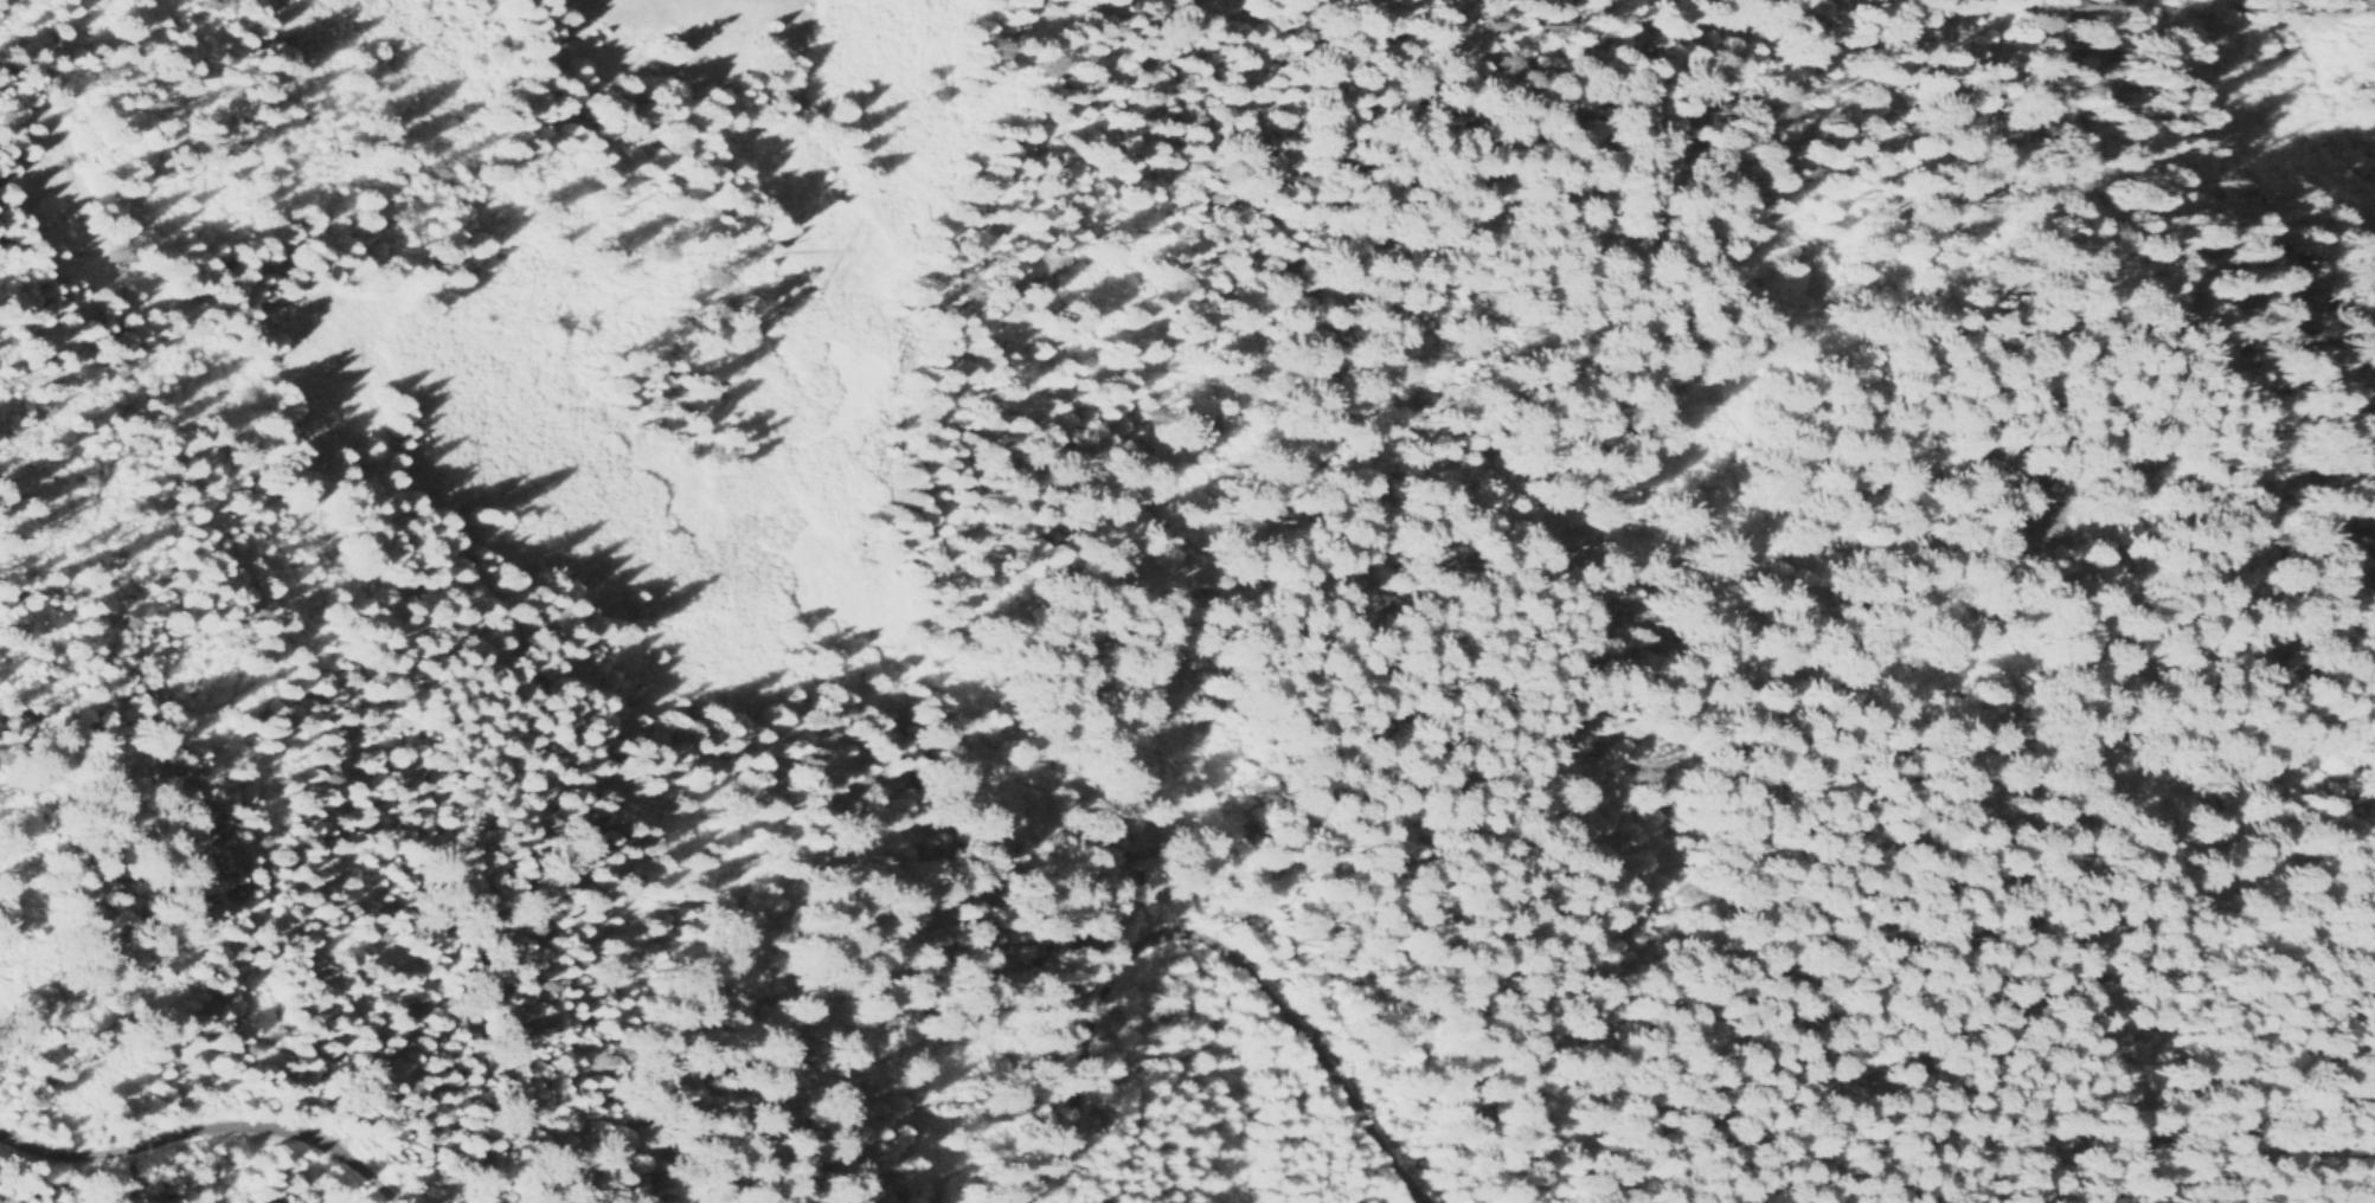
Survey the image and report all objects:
road: (2068, 246)
road: (1196, 941)
road: (205, 1136)

